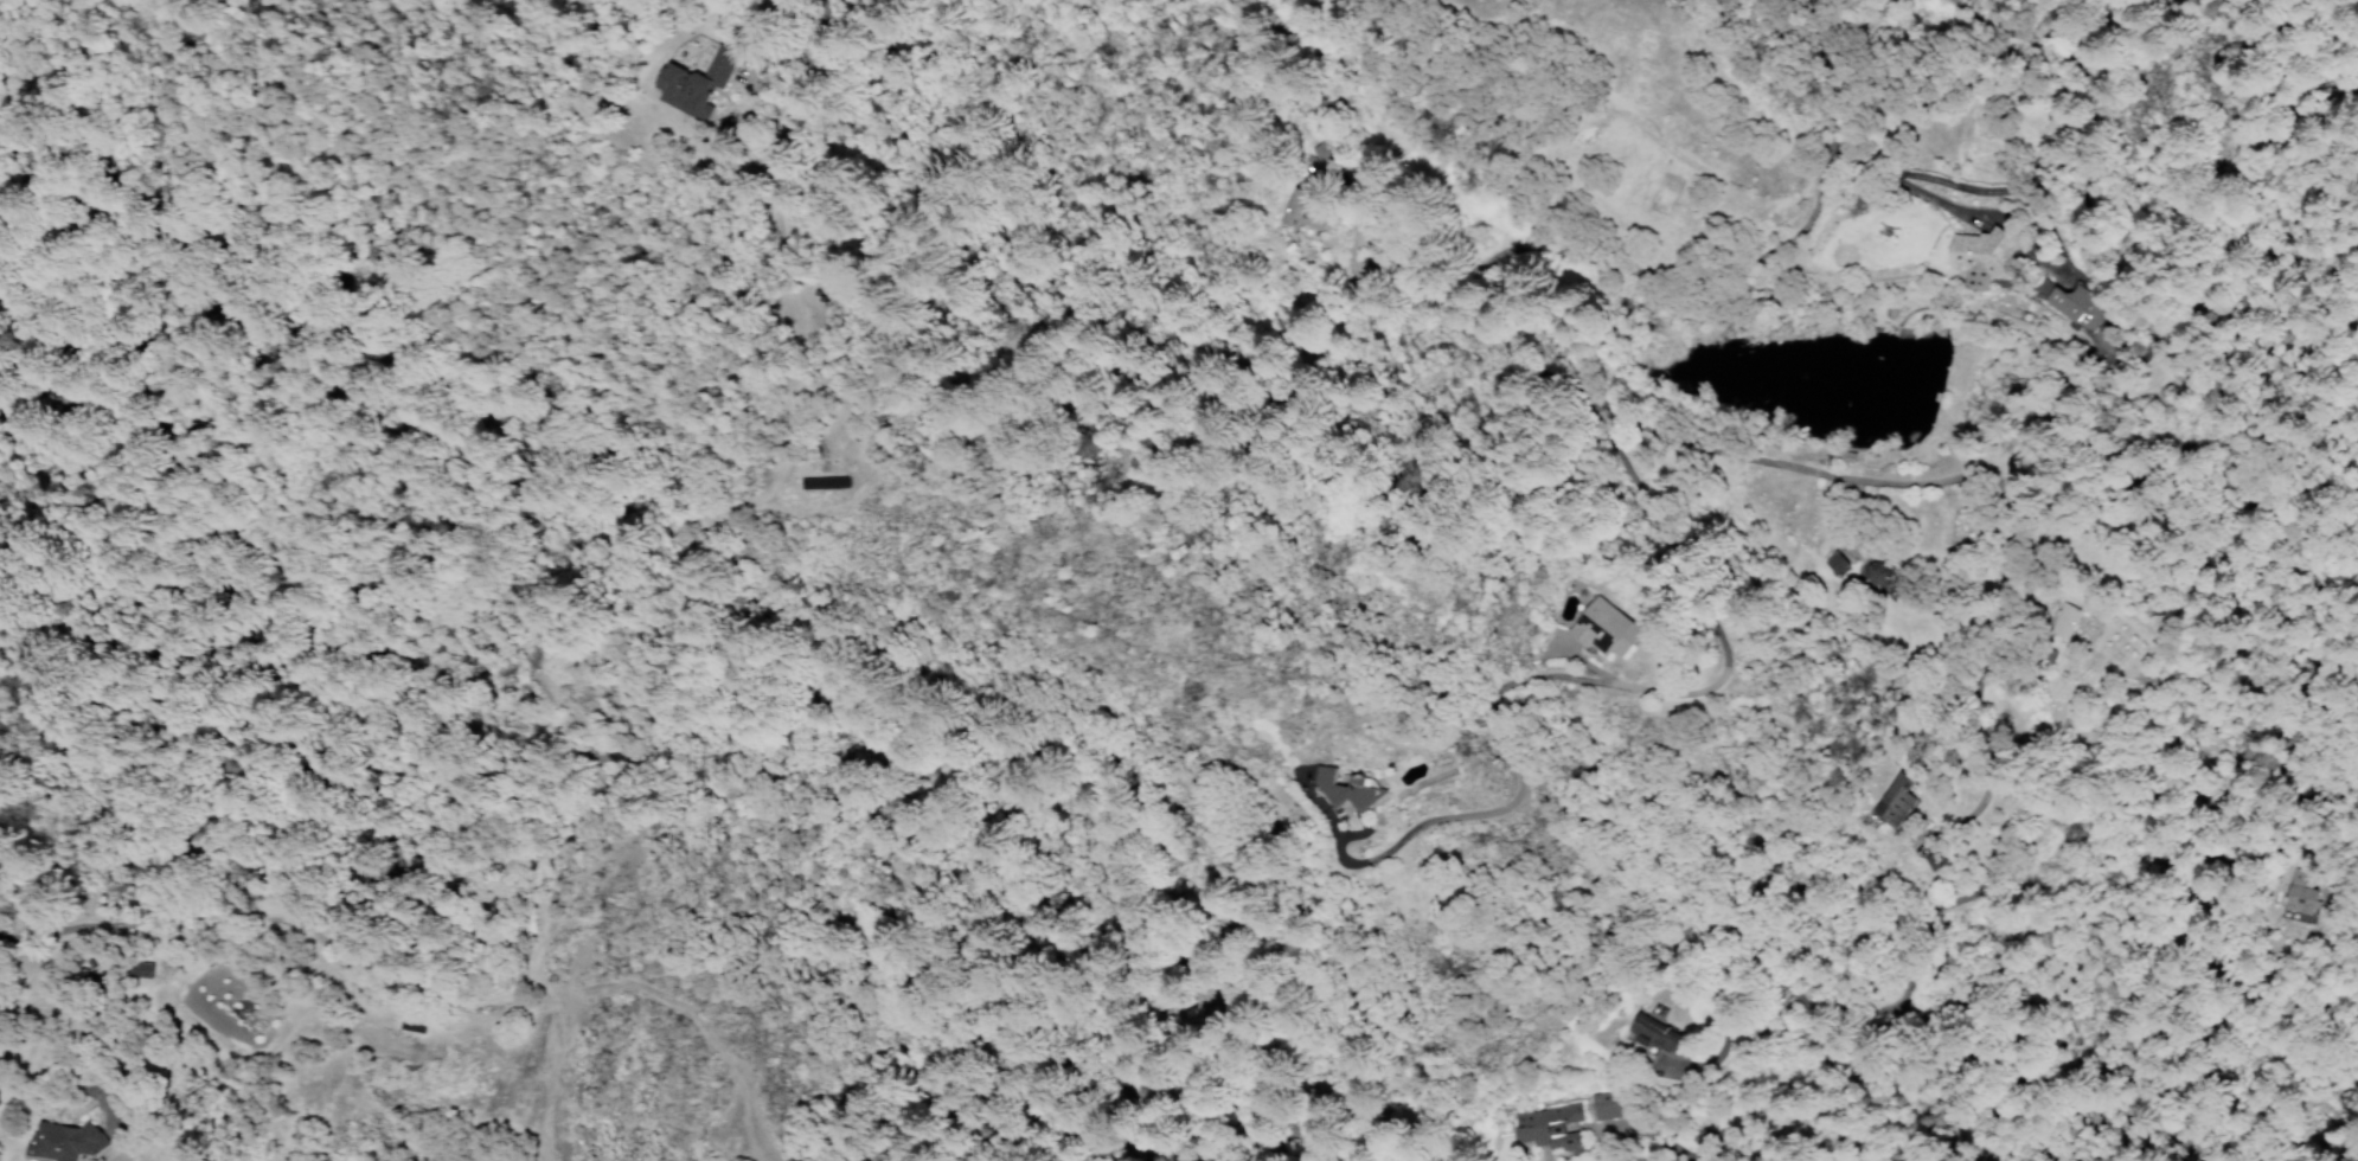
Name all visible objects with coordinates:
building: (696, 81)
road: (1792, 114)
road: (1302, 168)
building: (1296, 216)
road: (1540, 245)
building: (1981, 257)
building: (2075, 304)
crop: (0, 366)
road: (2108, 381)
road: (1667, 426)
building: (1833, 563)
building: (1869, 573)
road: (668, 582)
building: (2067, 624)
building: (1604, 634)
road: (1633, 686)
building: (1345, 791)
building: (1897, 803)
building: (1931, 860)
building: (2299, 897)
road: (191, 923)
building: (141, 969)
road: (630, 988)
road: (547, 989)
road: (89, 1026)
building: (1654, 1044)
road: (487, 1059)
building: (1572, 1128)
building: (69, 1142)

